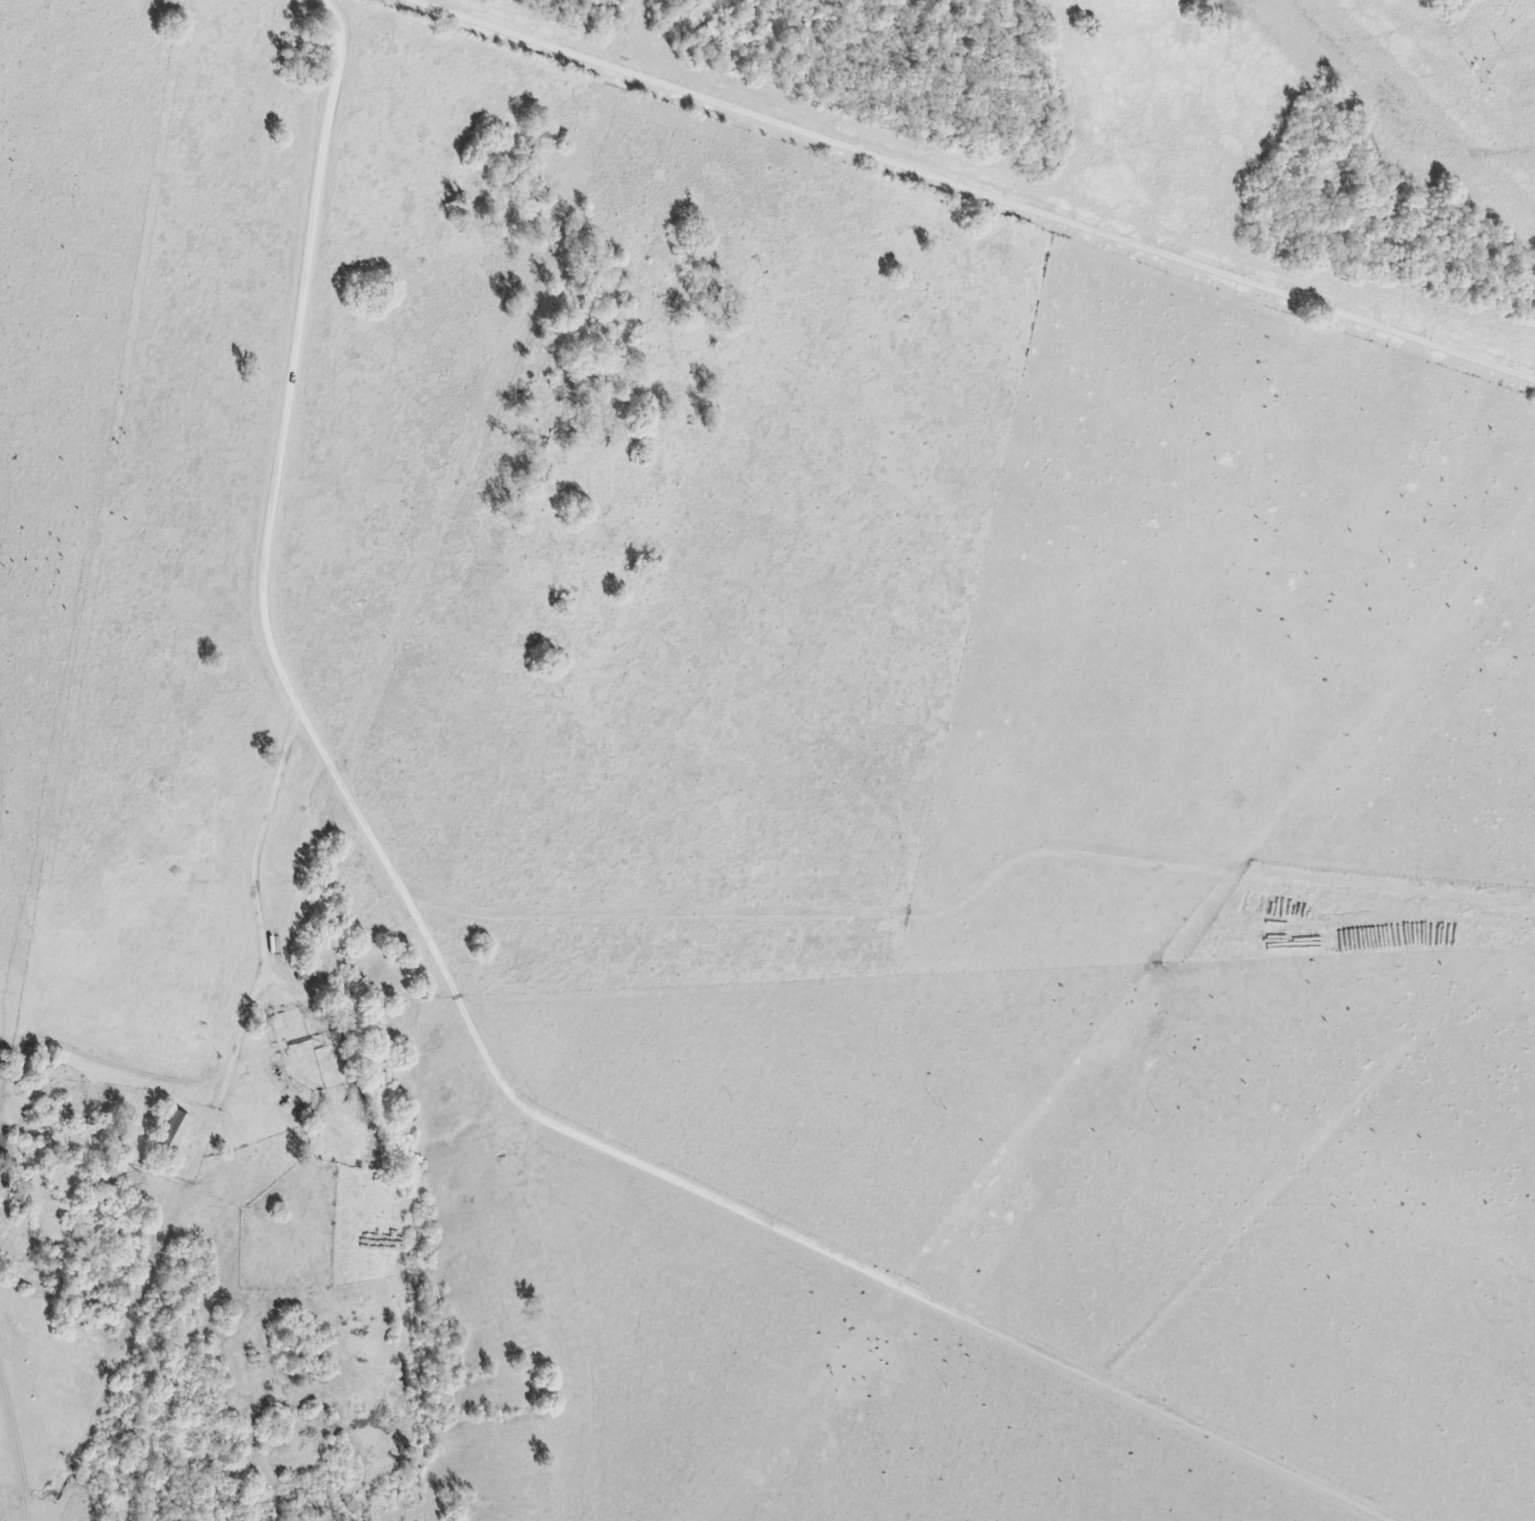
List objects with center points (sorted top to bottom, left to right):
road: (975, 190)
road: (515, 903)
road: (265, 918)
road: (849, 1260)

